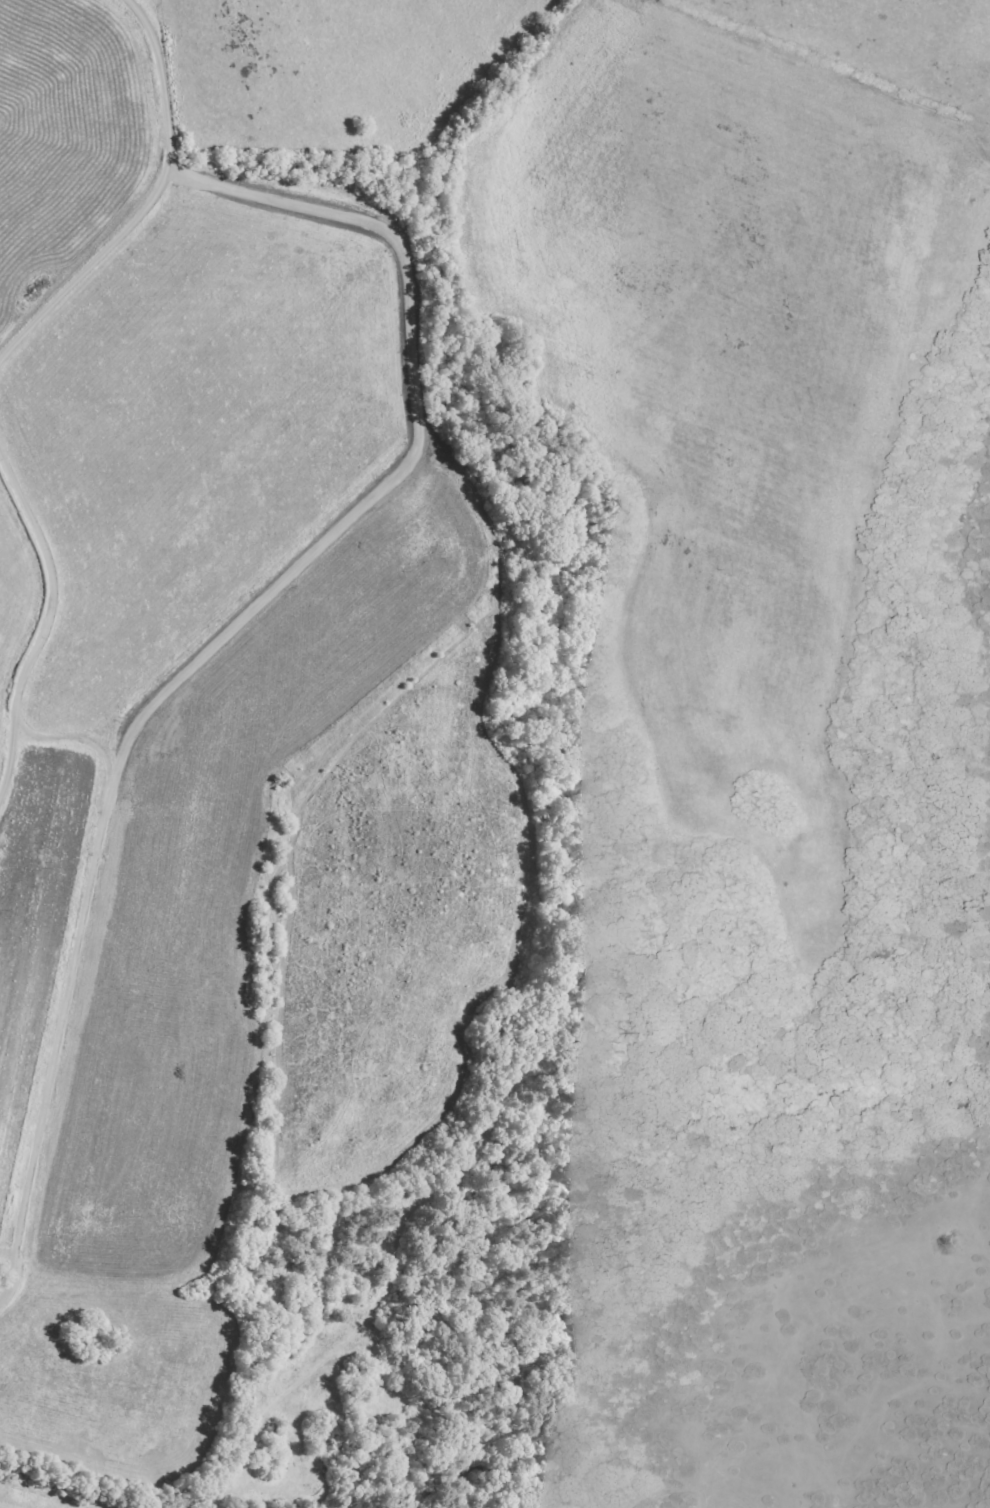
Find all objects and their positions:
road: (149, 200)
road: (46, 623)

